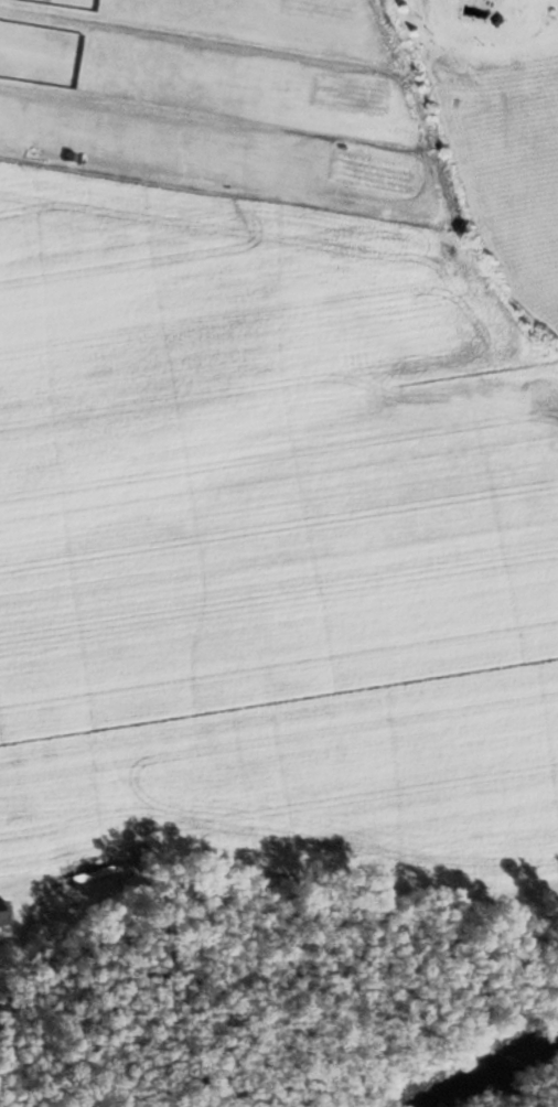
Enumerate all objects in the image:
building: (2, 912)

